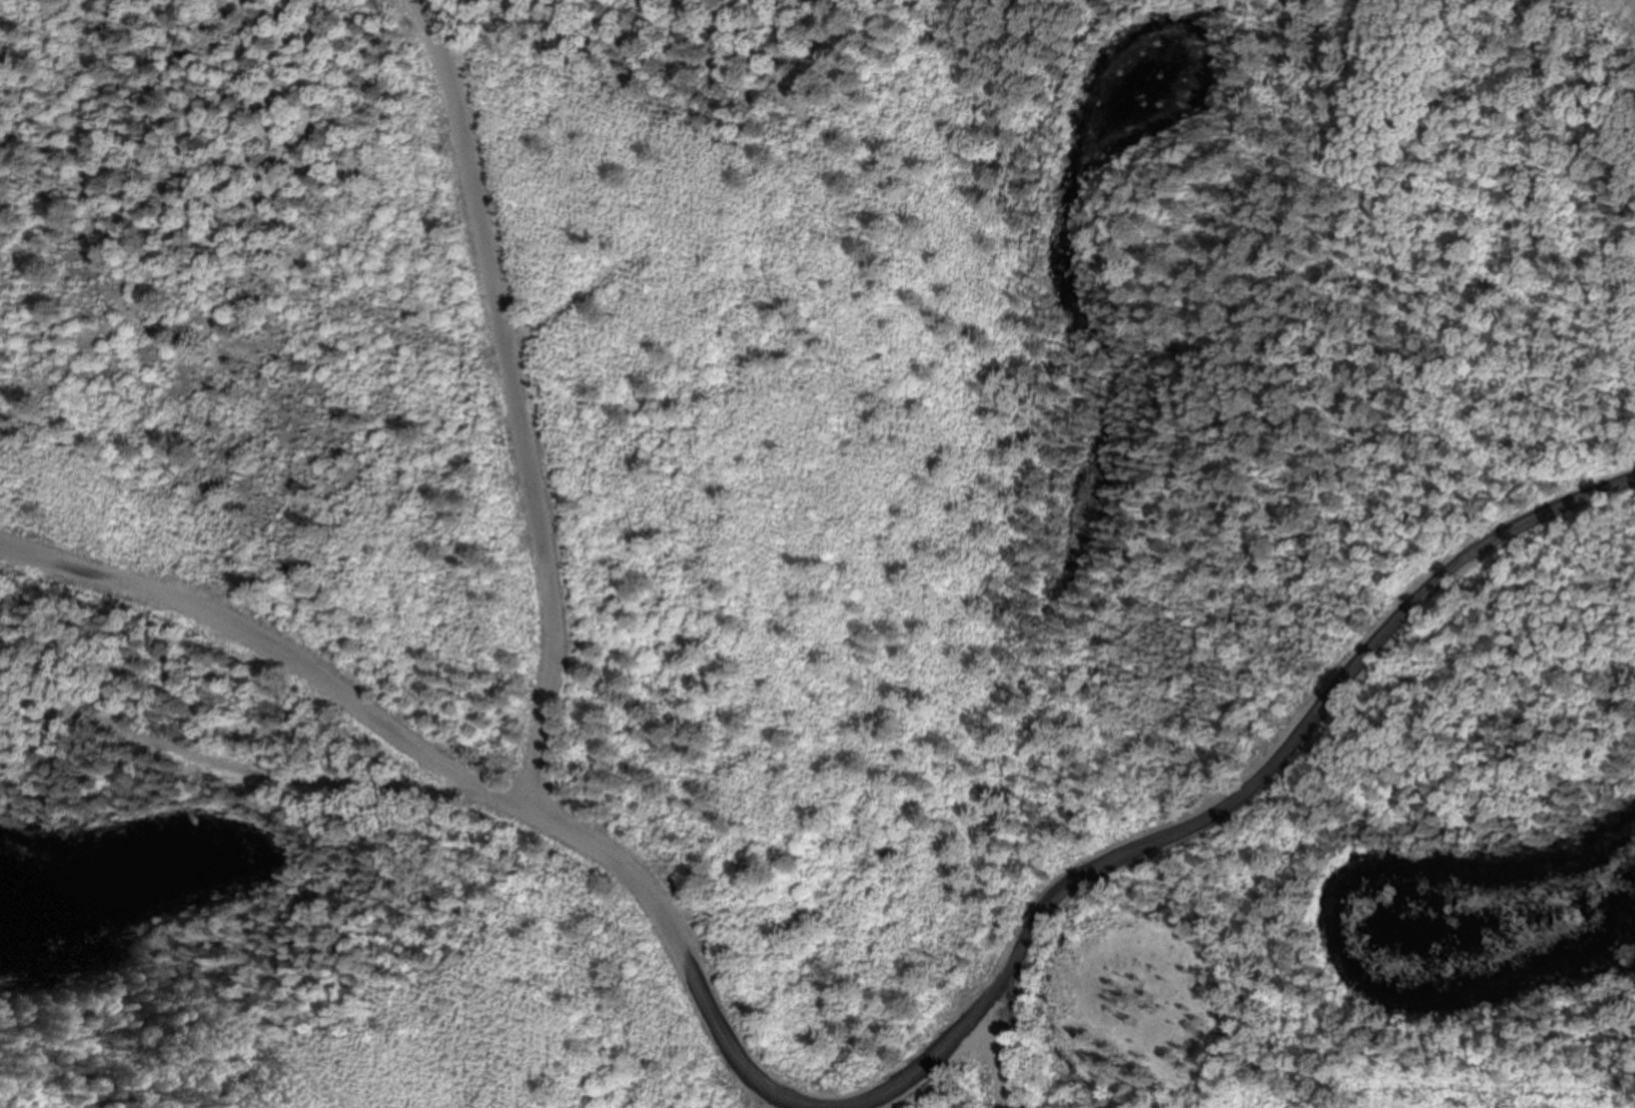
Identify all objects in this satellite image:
road: (517, 399)
road: (221, 753)
road: (1273, 775)
road: (550, 815)
road: (764, 1098)

